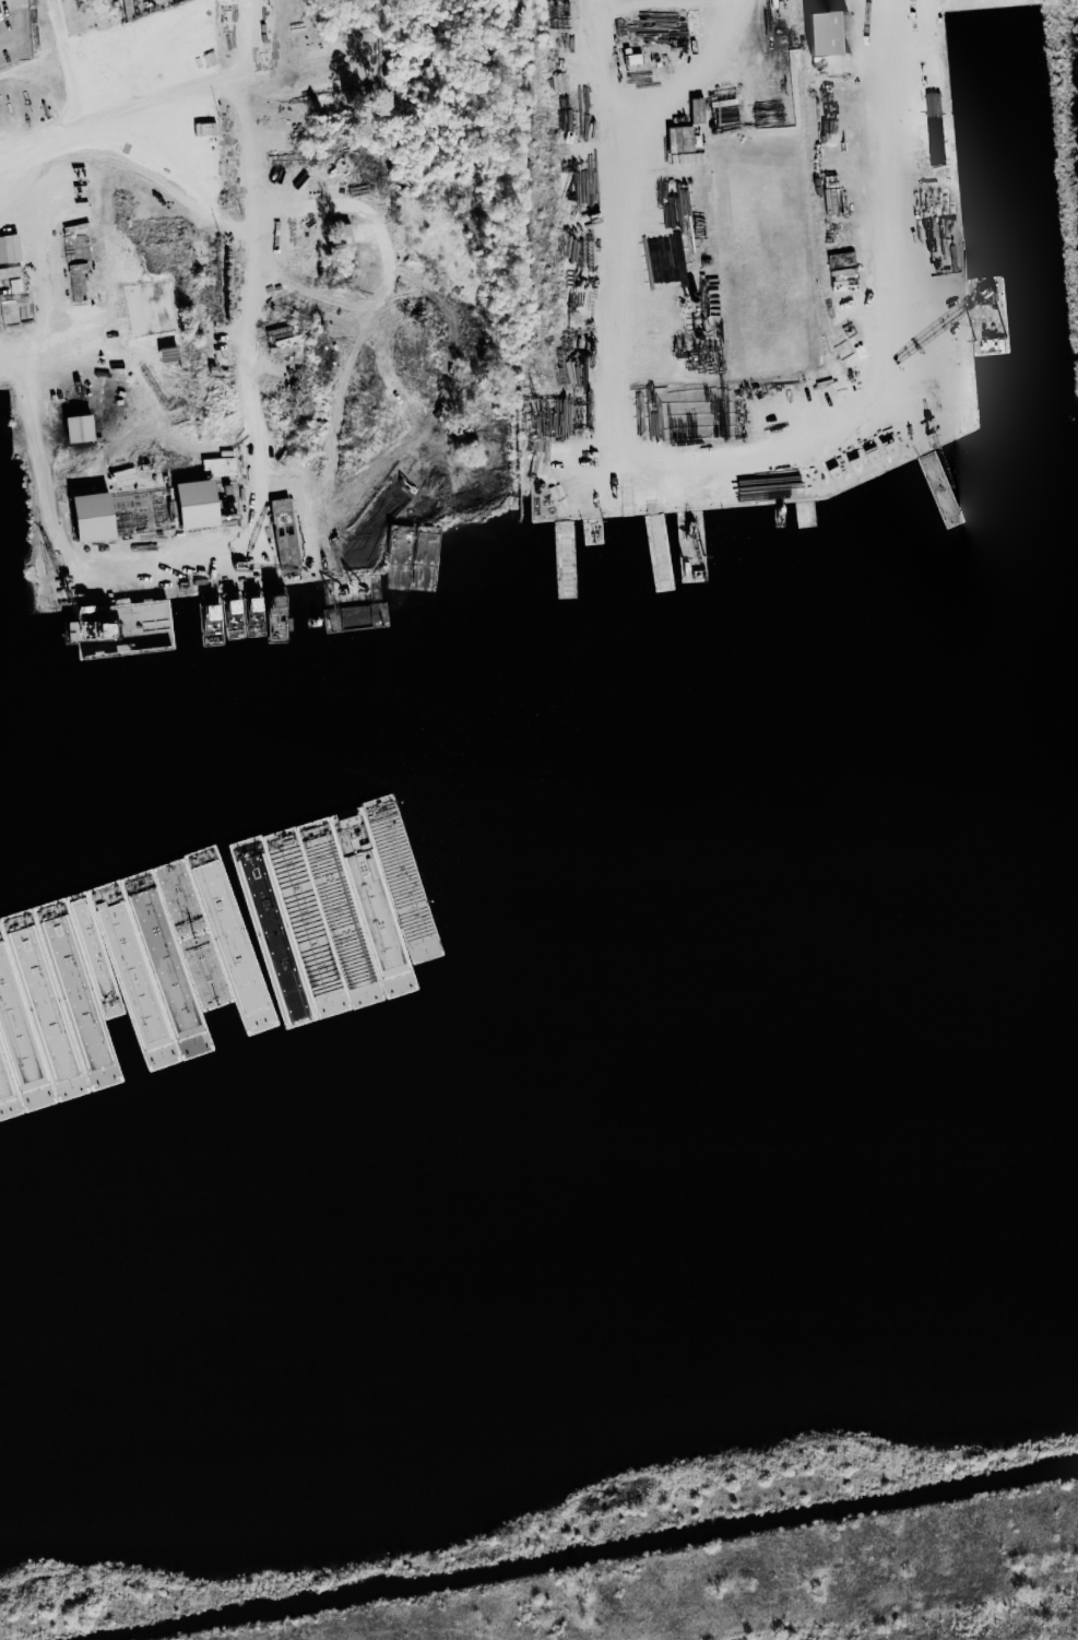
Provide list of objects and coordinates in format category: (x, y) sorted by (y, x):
building: (819, 33)
building: (339, 233)
building: (8, 248)
road: (57, 297)
road: (28, 343)
building: (71, 428)
road: (718, 446)
building: (186, 505)
building: (93, 551)
landfill: (744, 1621)

